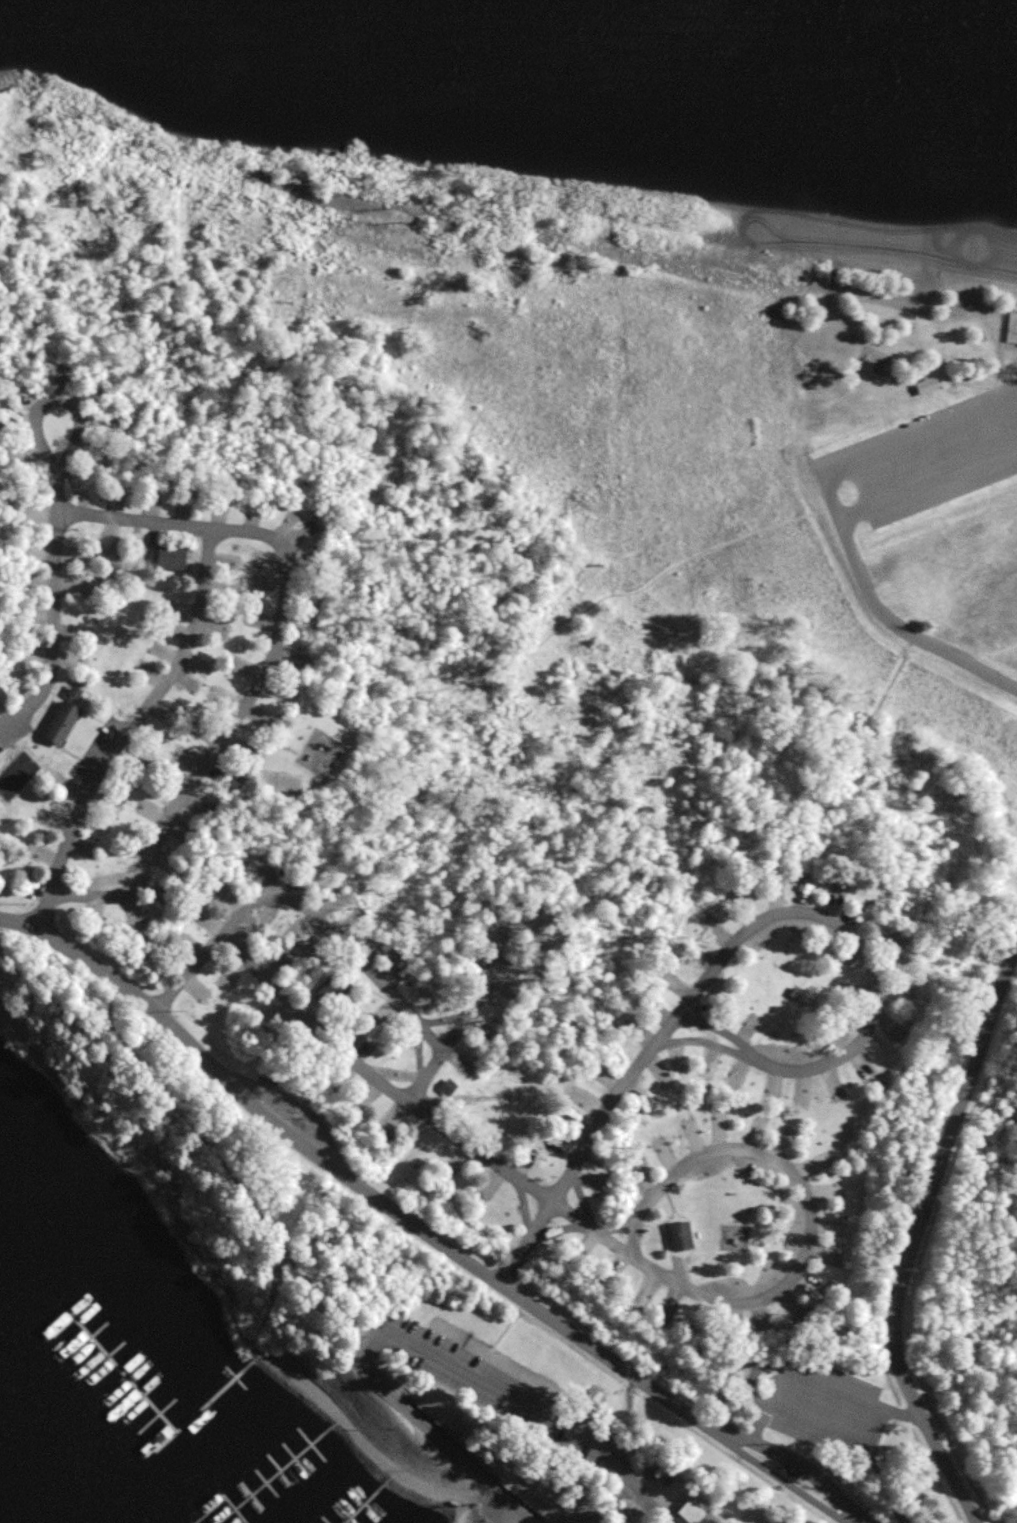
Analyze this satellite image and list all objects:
building: (1014, 315)
road: (90, 392)
road: (921, 435)
road: (928, 480)
road: (54, 615)
road: (884, 615)
road: (308, 671)
building: (59, 722)
road: (133, 732)
road: (299, 893)
road: (514, 927)
road: (749, 931)
road: (445, 1035)
building: (446, 1087)
road: (406, 1101)
road: (301, 1145)
road: (742, 1150)
road: (578, 1157)
building: (678, 1234)
road: (915, 1234)
road: (429, 1349)
pier: (122, 1369)
pier: (206, 1403)
road: (741, 1440)
road: (779, 1477)

